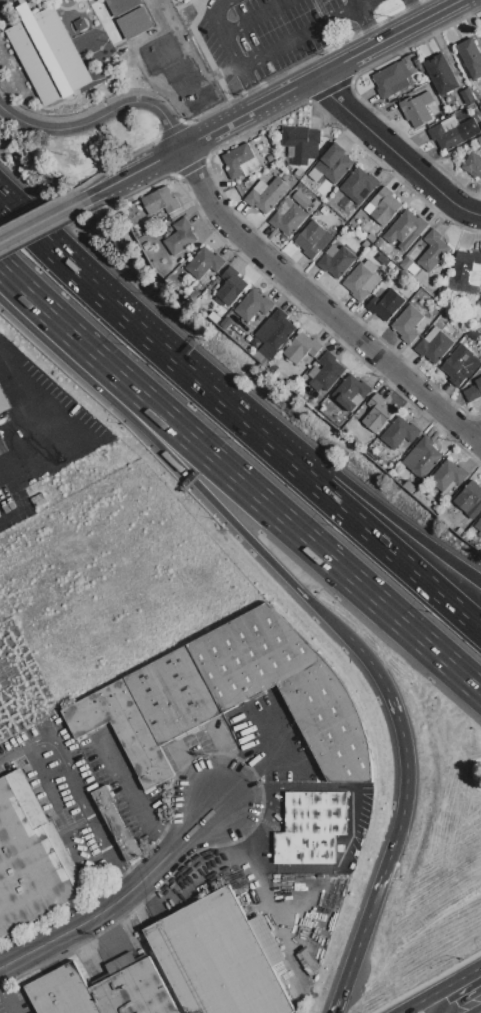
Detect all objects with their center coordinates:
road: (355, 3)
road: (362, 3)
building: (122, 5)
road: (414, 11)
road: (253, 17)
building: (133, 22)
road: (366, 26)
road: (218, 29)
road: (297, 36)
building: (47, 53)
building: (470, 56)
building: (415, 59)
building: (441, 73)
building: (392, 78)
road: (248, 88)
building: (467, 96)
building: (427, 97)
road: (277, 99)
building: (415, 110)
road: (100, 113)
building: (448, 133)
building: (479, 139)
building: (301, 142)
road: (389, 143)
building: (237, 159)
building: (473, 164)
building: (331, 165)
building: (298, 172)
building: (286, 176)
building: (358, 185)
building: (266, 194)
building: (301, 198)
building: (160, 201)
building: (383, 206)
road: (471, 211)
building: (288, 217)
road: (43, 219)
building: (405, 229)
building: (179, 236)
building: (370, 237)
building: (313, 238)
building: (378, 242)
building: (433, 249)
building: (336, 260)
building: (203, 263)
road: (0, 268)
building: (413, 268)
building: (467, 268)
building: (361, 281)
building: (230, 286)
building: (385, 304)
building: (252, 305)
road: (320, 306)
road: (131, 320)
building: (226, 322)
building: (407, 323)
building: (272, 334)
building: (431, 334)
building: (473, 334)
building: (251, 338)
building: (434, 347)
building: (300, 348)
building: (460, 365)
building: (313, 371)
building: (327, 372)
building: (349, 391)
building: (473, 391)
building: (3, 402)
building: (376, 413)
building: (399, 432)
road: (149, 433)
road: (476, 435)
road: (23, 440)
building: (421, 457)
building: (447, 475)
road: (240, 481)
road: (308, 483)
building: (468, 497)
road: (375, 506)
building: (478, 525)
road: (417, 578)
road: (326, 615)
building: (251, 656)
building: (173, 695)
building: (329, 723)
building: (122, 728)
road: (404, 748)
road: (258, 764)
road: (196, 773)
road: (77, 794)
road: (130, 794)
building: (116, 824)
road: (194, 824)
building: (310, 827)
building: (30, 858)
road: (93, 917)
road: (357, 942)
building: (217, 960)
road: (448, 982)
traffic signals: (441, 987)
building: (132, 988)
building: (61, 991)
road: (7, 999)
road: (407, 1007)
road: (420, 1007)
road: (480, 1012)

